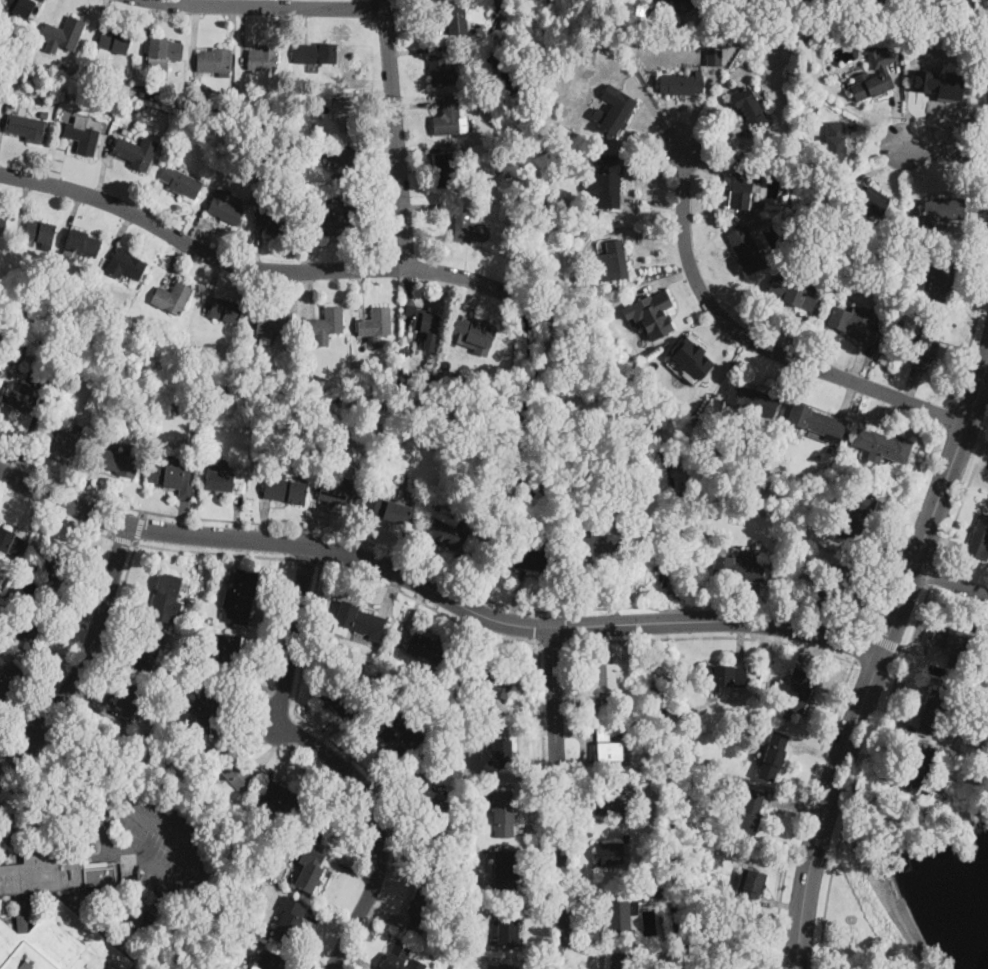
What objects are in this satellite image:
building: (608, 0)
road: (182, 1)
building: (834, 1)
road: (233, 2)
building: (691, 2)
building: (948, 2)
road: (270, 4)
building: (17, 7)
building: (919, 7)
road: (36, 11)
road: (55, 11)
building: (453, 17)
road: (100, 22)
road: (303, 24)
building: (929, 27)
road: (149, 28)
building: (549, 30)
building: (718, 33)
road: (193, 34)
road: (416, 34)
building: (63, 35)
building: (906, 35)
road: (242, 37)
building: (112, 43)
building: (576, 45)
building: (592, 46)
road: (416, 50)
building: (314, 53)
building: (163, 56)
building: (263, 58)
building: (714, 58)
building: (214, 61)
building: (63, 67)
building: (441, 68)
building: (873, 76)
building: (682, 84)
building: (942, 86)
building: (142, 91)
building: (202, 95)
road: (375, 102)
building: (5, 103)
road: (895, 103)
road: (416, 105)
road: (699, 107)
building: (750, 110)
building: (44, 113)
building: (346, 114)
building: (618, 114)
road: (657, 116)
building: (448, 119)
road: (914, 119)
road: (2, 120)
building: (272, 122)
building: (27, 128)
building: (126, 132)
road: (394, 134)
building: (81, 136)
road: (877, 136)
road: (713, 141)
building: (834, 145)
road: (428, 146)
building: (498, 147)
road: (946, 149)
building: (289, 150)
road: (62, 151)
road: (378, 151)
building: (136, 153)
road: (105, 164)
building: (343, 164)
road: (702, 165)
road: (884, 167)
building: (445, 170)
building: (609, 180)
building: (181, 182)
building: (743, 183)
building: (339, 196)
building: (870, 199)
road: (375, 200)
road: (152, 201)
road: (653, 203)
road: (21, 206)
road: (978, 207)
building: (225, 208)
building: (944, 209)
road: (431, 210)
building: (300, 215)
road: (72, 218)
building: (273, 220)
road: (196, 222)
building: (2, 223)
building: (343, 223)
building: (469, 229)
building: (40, 232)
road: (119, 234)
road: (643, 234)
building: (83, 242)
road: (706, 247)
road: (258, 248)
building: (745, 250)
building: (613, 261)
building: (125, 264)
road: (176, 264)
road: (245, 265)
road: (973, 269)
road: (668, 279)
building: (942, 280)
road: (212, 285)
building: (54, 288)
road: (311, 291)
road: (360, 293)
building: (794, 293)
road: (407, 295)
road: (471, 295)
building: (172, 297)
road: (258, 297)
building: (225, 310)
building: (652, 312)
road: (975, 320)
building: (328, 322)
building: (376, 322)
building: (272, 323)
building: (426, 323)
building: (854, 323)
building: (113, 327)
building: (473, 331)
building: (120, 332)
road: (796, 333)
road: (754, 343)
building: (925, 346)
building: (390, 352)
road: (718, 353)
building: (691, 356)
road: (859, 363)
building: (230, 374)
road: (781, 375)
building: (424, 379)
building: (69, 384)
road: (912, 386)
building: (176, 396)
road: (847, 398)
building: (20, 399)
building: (752, 401)
road: (872, 408)
road: (946, 415)
building: (816, 423)
road: (975, 436)
building: (309, 439)
building: (64, 444)
building: (882, 446)
road: (16, 454)
building: (118, 462)
road: (38, 467)
building: (173, 476)
building: (225, 481)
road: (85, 484)
building: (285, 490)
building: (341, 492)
road: (961, 498)
road: (29, 510)
building: (397, 512)
road: (143, 514)
road: (55, 516)
road: (184, 516)
road: (237, 516)
building: (856, 518)
road: (263, 520)
road: (139, 528)
road: (346, 529)
road: (902, 529)
building: (443, 531)
road: (369, 536)
building: (980, 539)
road: (944, 540)
road: (123, 541)
building: (11, 542)
road: (135, 542)
building: (592, 543)
road: (891, 548)
building: (481, 553)
building: (535, 559)
road: (309, 561)
road: (129, 562)
building: (738, 567)
road: (429, 570)
road: (444, 573)
building: (59, 574)
road: (933, 575)
road: (951, 580)
building: (836, 583)
road: (614, 586)
road: (434, 589)
road: (389, 590)
road: (516, 597)
building: (167, 598)
building: (240, 598)
road: (82, 602)
road: (130, 603)
road: (756, 604)
road: (429, 606)
road: (976, 610)
road: (410, 617)
road: (824, 618)
building: (357, 621)
road: (274, 627)
building: (26, 631)
road: (711, 638)
building: (198, 639)
road: (882, 640)
road: (606, 642)
road: (742, 642)
road: (552, 644)
road: (859, 645)
building: (953, 645)
building: (427, 648)
road: (902, 650)
road: (812, 652)
building: (148, 653)
building: (227, 655)
road: (87, 657)
road: (111, 658)
road: (56, 659)
road: (876, 659)
building: (986, 666)
building: (724, 676)
building: (9, 678)
building: (605, 679)
building: (381, 680)
building: (387, 680)
building: (482, 681)
building: (962, 682)
road: (258, 687)
building: (797, 692)
building: (341, 696)
building: (132, 700)
road: (94, 701)
building: (163, 701)
building: (207, 709)
road: (888, 711)
building: (936, 711)
road: (518, 715)
road: (21, 716)
road: (249, 726)
road: (325, 730)
road: (522, 732)
road: (573, 734)
road: (51, 735)
building: (396, 735)
building: (159, 743)
building: (692, 743)
road: (269, 748)
building: (609, 748)
road: (359, 750)
road: (816, 750)
building: (501, 752)
road: (331, 755)
road: (290, 757)
building: (774, 757)
road: (354, 761)
road: (29, 762)
road: (584, 762)
building: (228, 767)
building: (918, 767)
road: (869, 770)
road: (860, 773)
road: (92, 777)
road: (5, 781)
road: (388, 787)
building: (425, 793)
road: (556, 797)
building: (282, 798)
building: (612, 802)
road: (543, 807)
building: (947, 807)
road: (796, 808)
road: (800, 810)
building: (751, 812)
building: (502, 813)
road: (6, 817)
road: (589, 818)
road: (12, 821)
road: (536, 825)
road: (401, 830)
building: (278, 834)
building: (625, 837)
road: (861, 841)
road: (523, 846)
building: (432, 849)
road: (201, 851)
building: (612, 855)
road: (7, 856)
road: (587, 859)
building: (311, 867)
road: (353, 869)
building: (505, 872)
park: (913, 879)
building: (752, 884)
building: (659, 890)
road: (600, 893)
building: (160, 901)
road: (781, 904)
building: (472, 907)
building: (421, 911)
dam: (901, 911)
road: (539, 913)
road: (385, 914)
building: (53, 916)
building: (621, 918)
building: (288, 920)
road: (327, 925)
building: (507, 926)
road: (901, 928)
building: (243, 940)
building: (400, 958)
road: (356, 960)
building: (621, 960)
building: (272, 961)
building: (507, 966)

